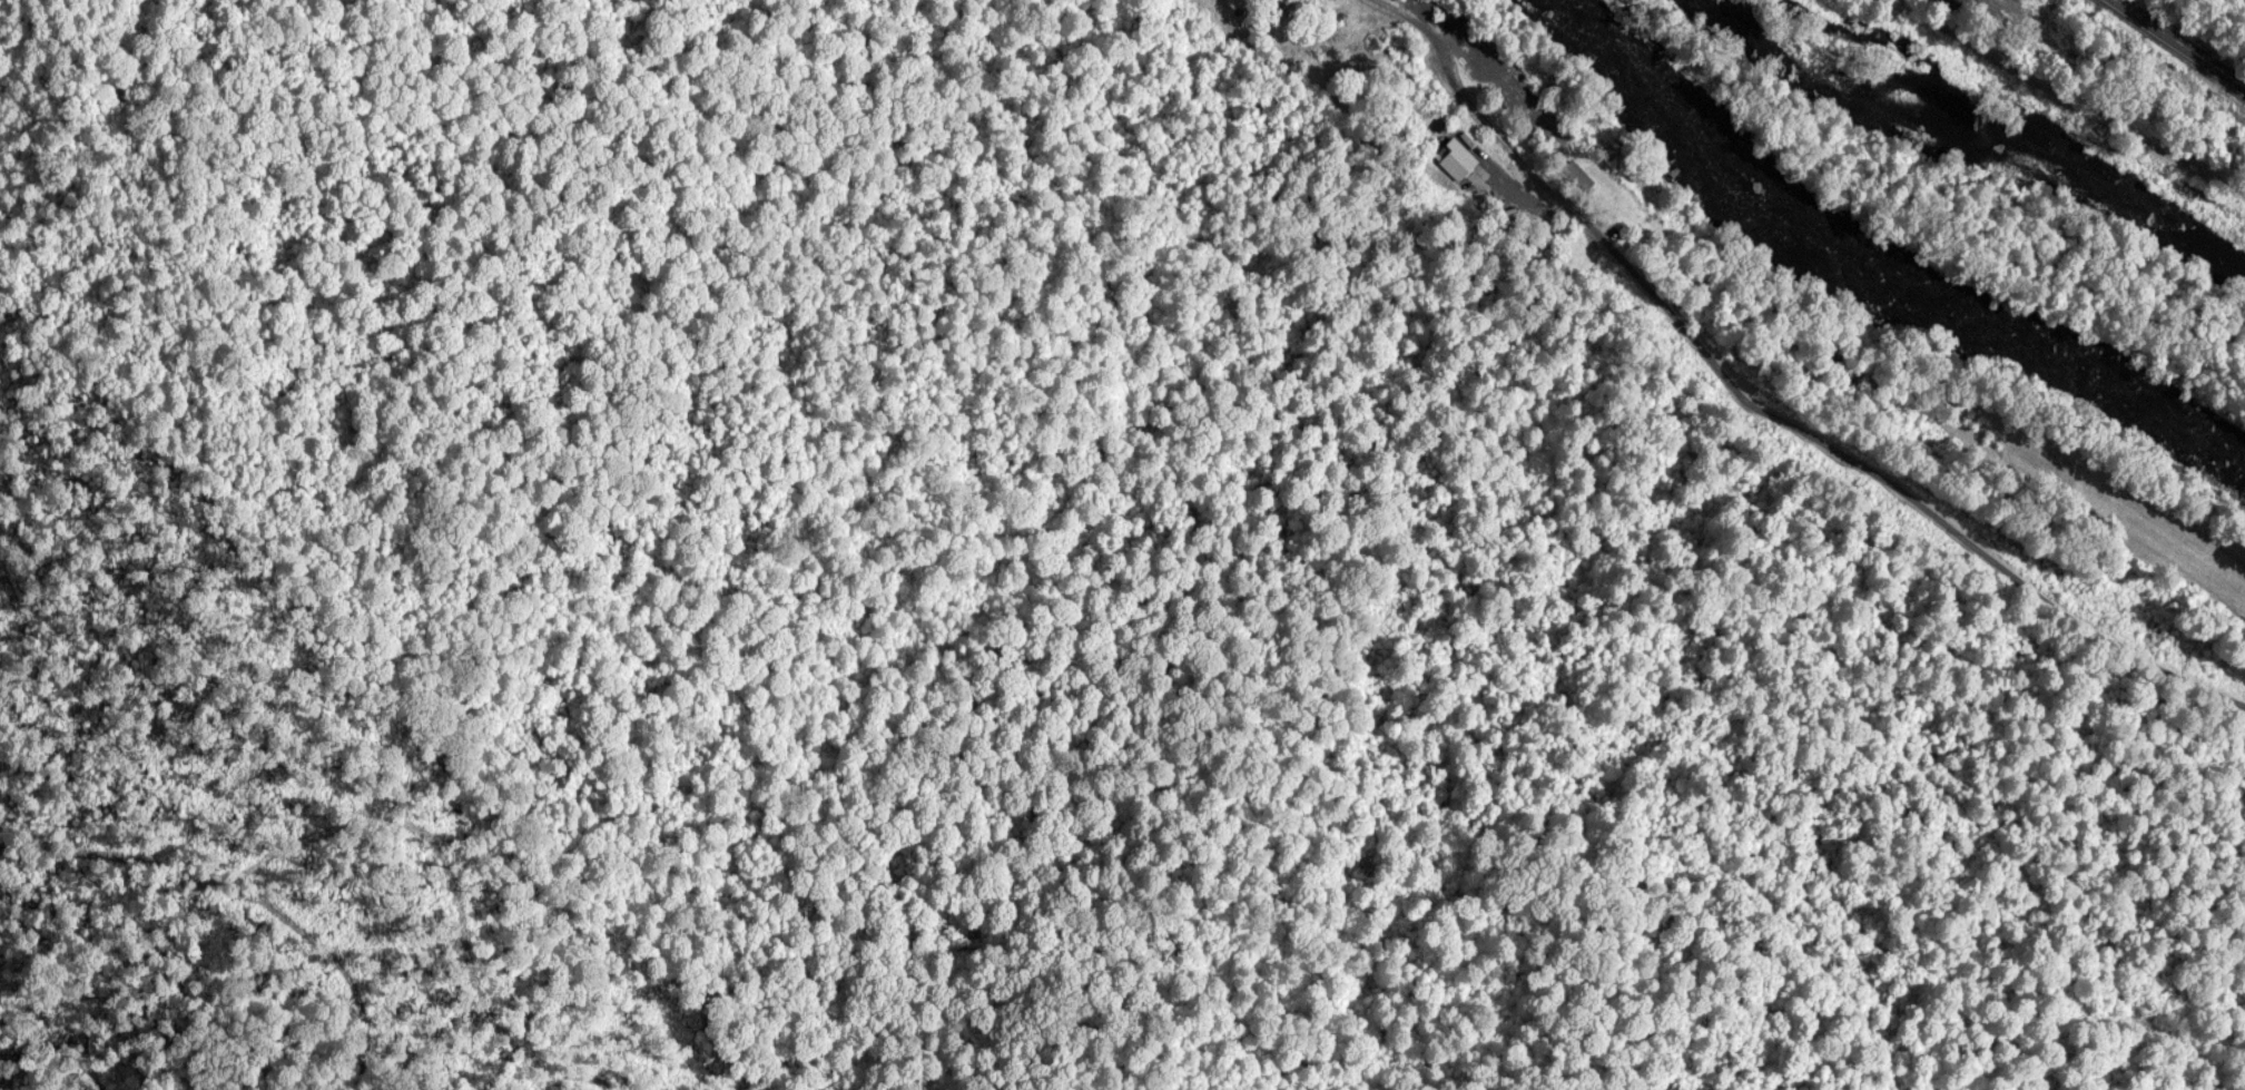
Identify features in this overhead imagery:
road: (2185, 39)
road: (2045, 122)
river: (1841, 308)
road: (1761, 396)

